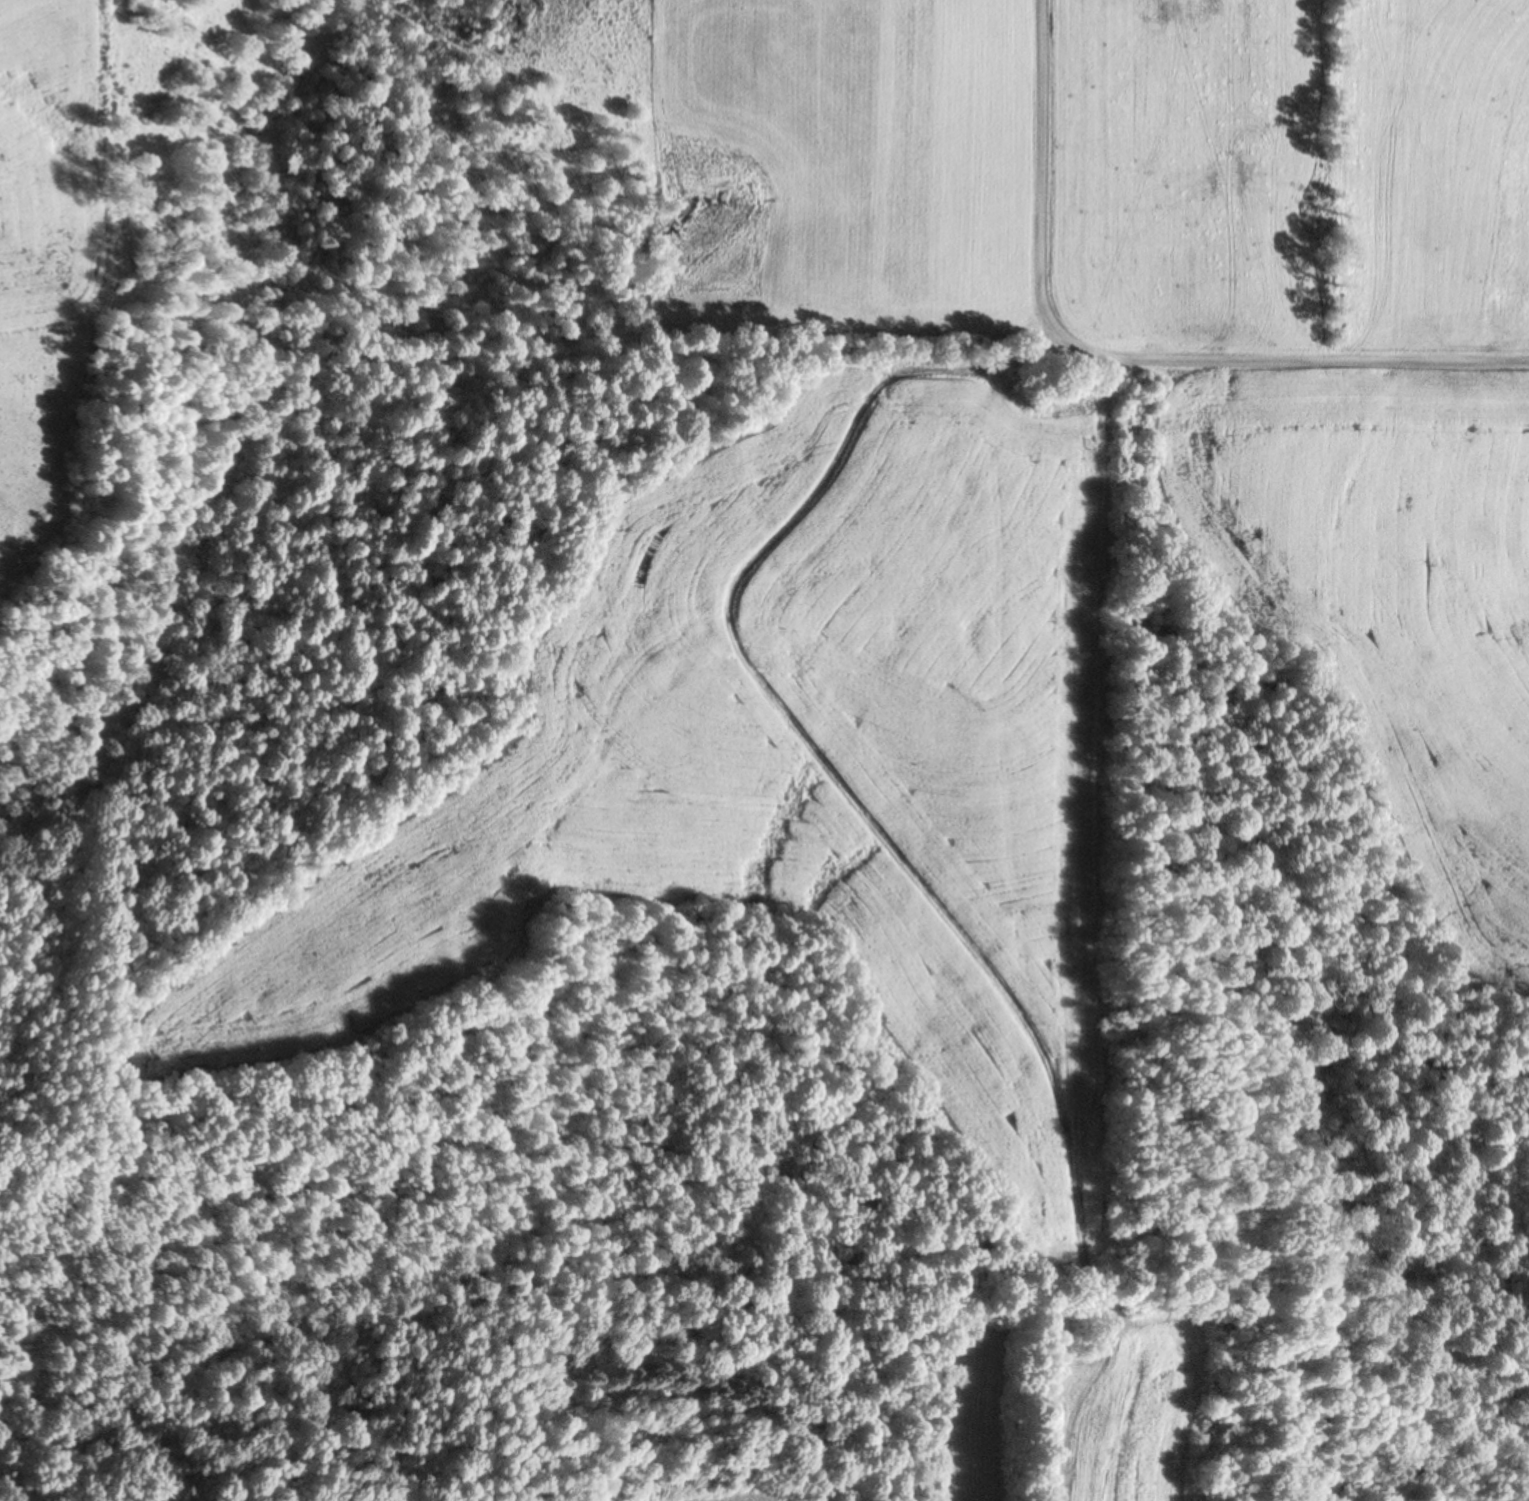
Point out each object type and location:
road: (1122, 353)

